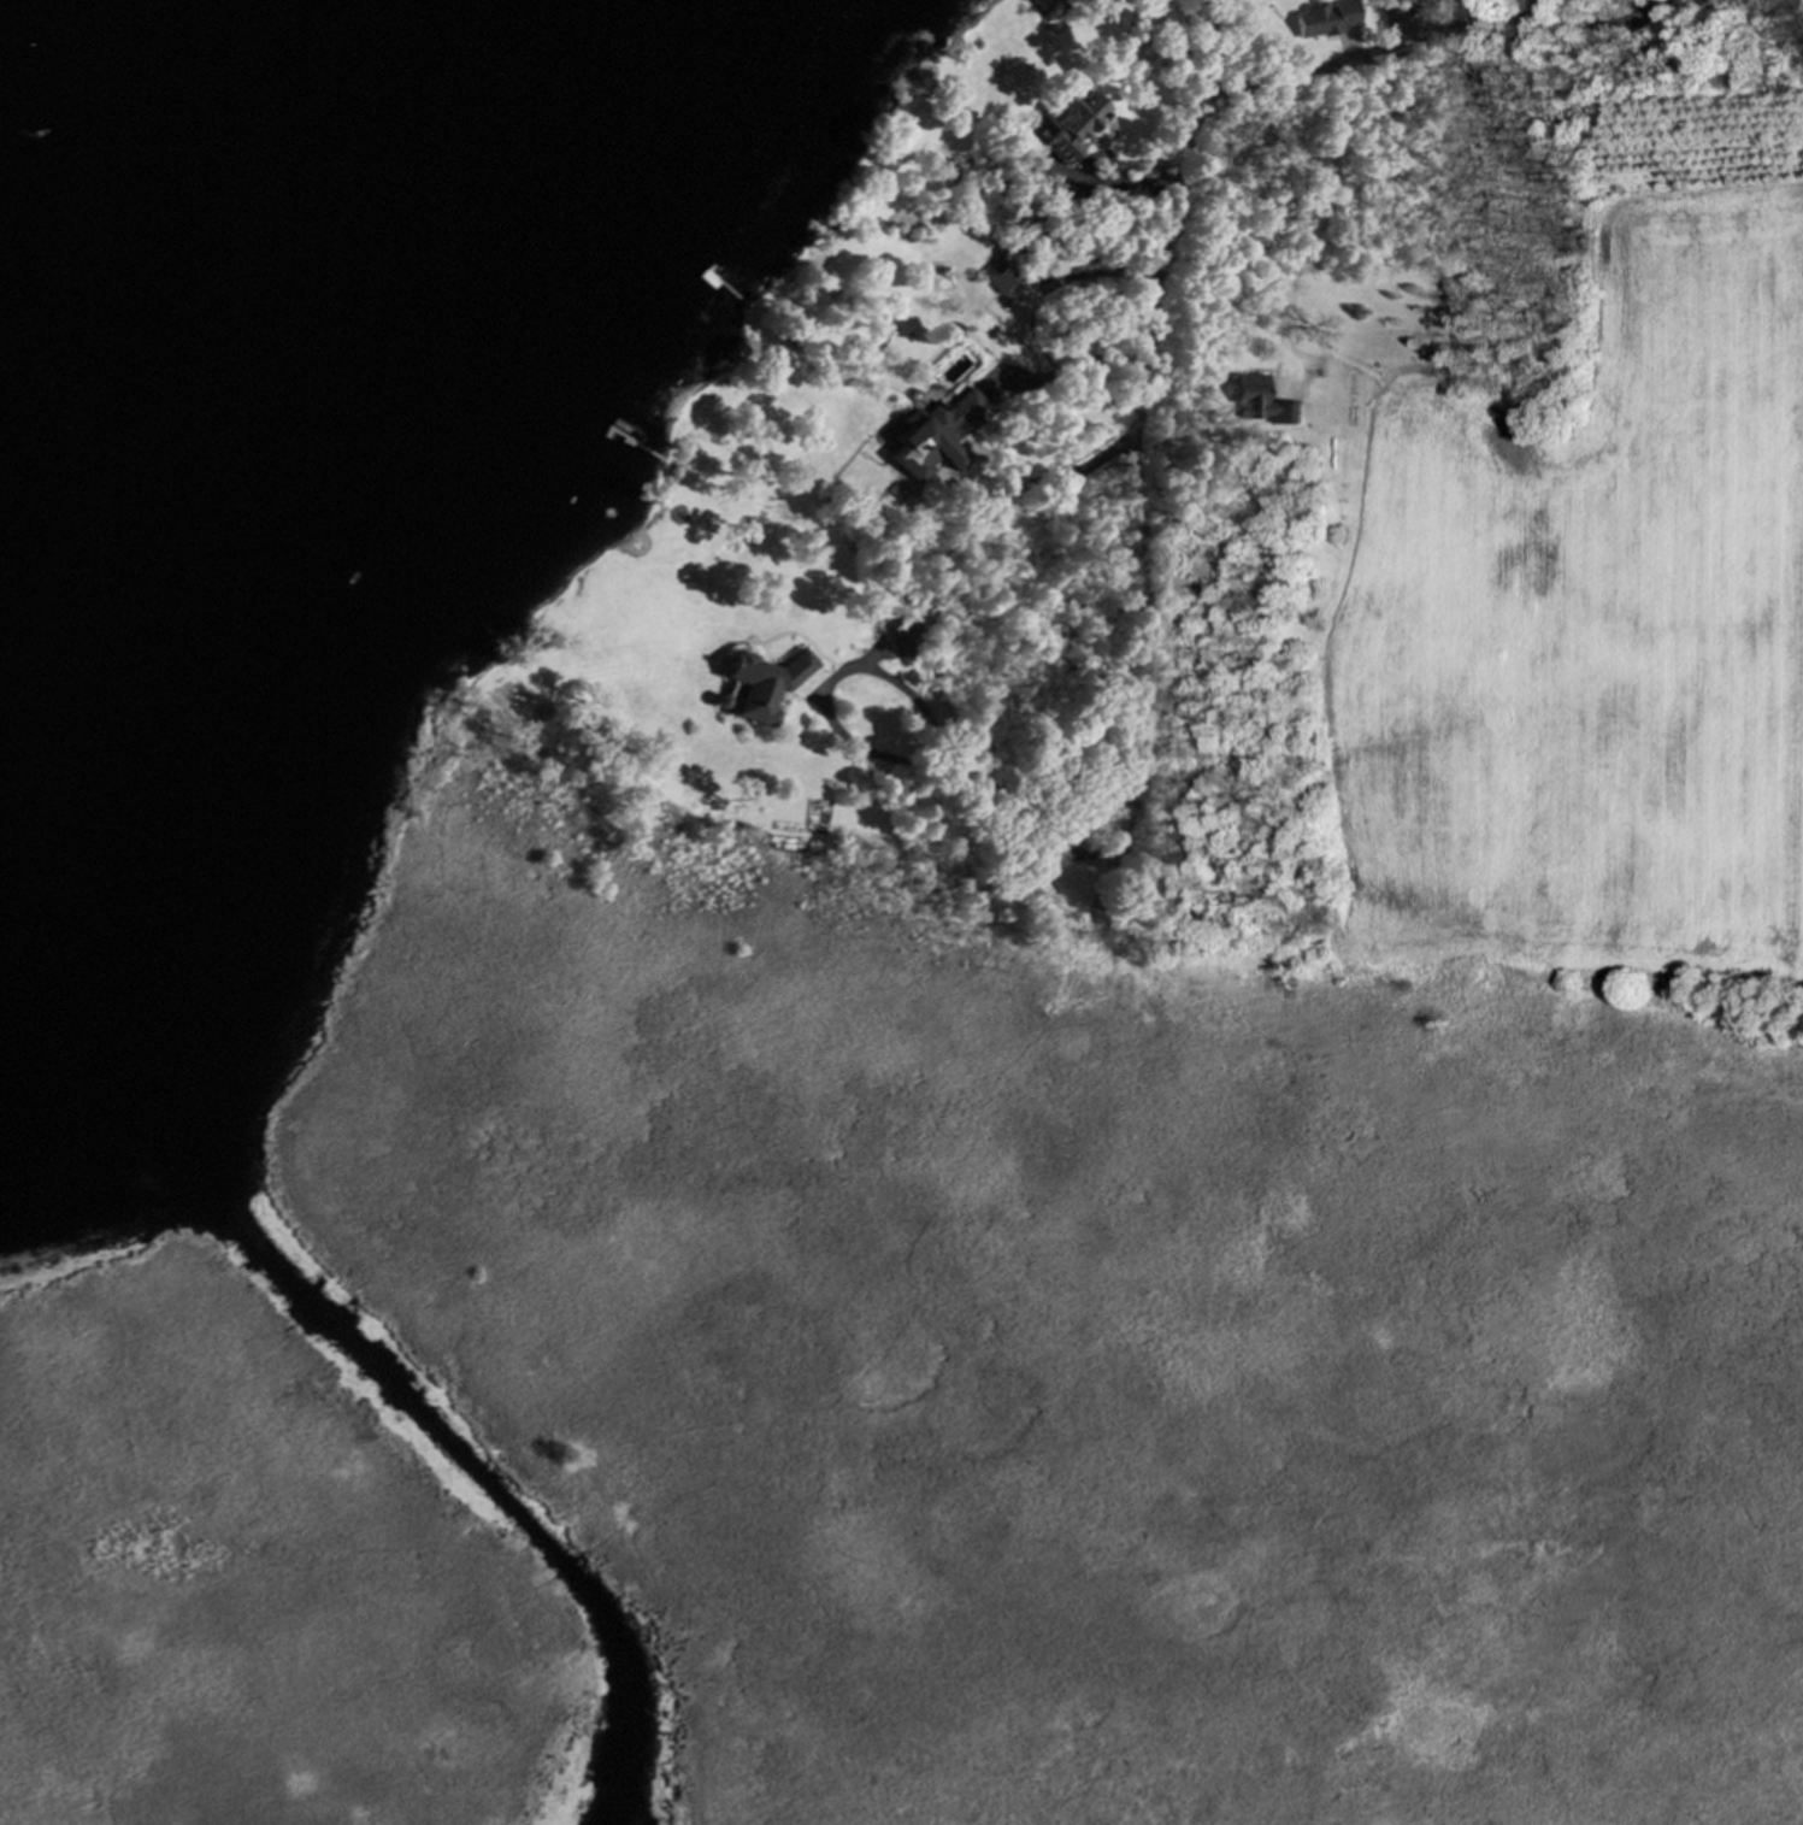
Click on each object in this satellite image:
road: (1646, 12)
road: (1669, 14)
building: (1325, 18)
building: (1070, 118)
road: (1090, 182)
road: (1319, 223)
road: (1173, 235)
building: (1002, 277)
road: (1019, 323)
building: (1261, 402)
building: (937, 436)
road: (1045, 482)
building: (905, 634)
crop: (1586, 636)
building: (765, 683)
road: (917, 705)

